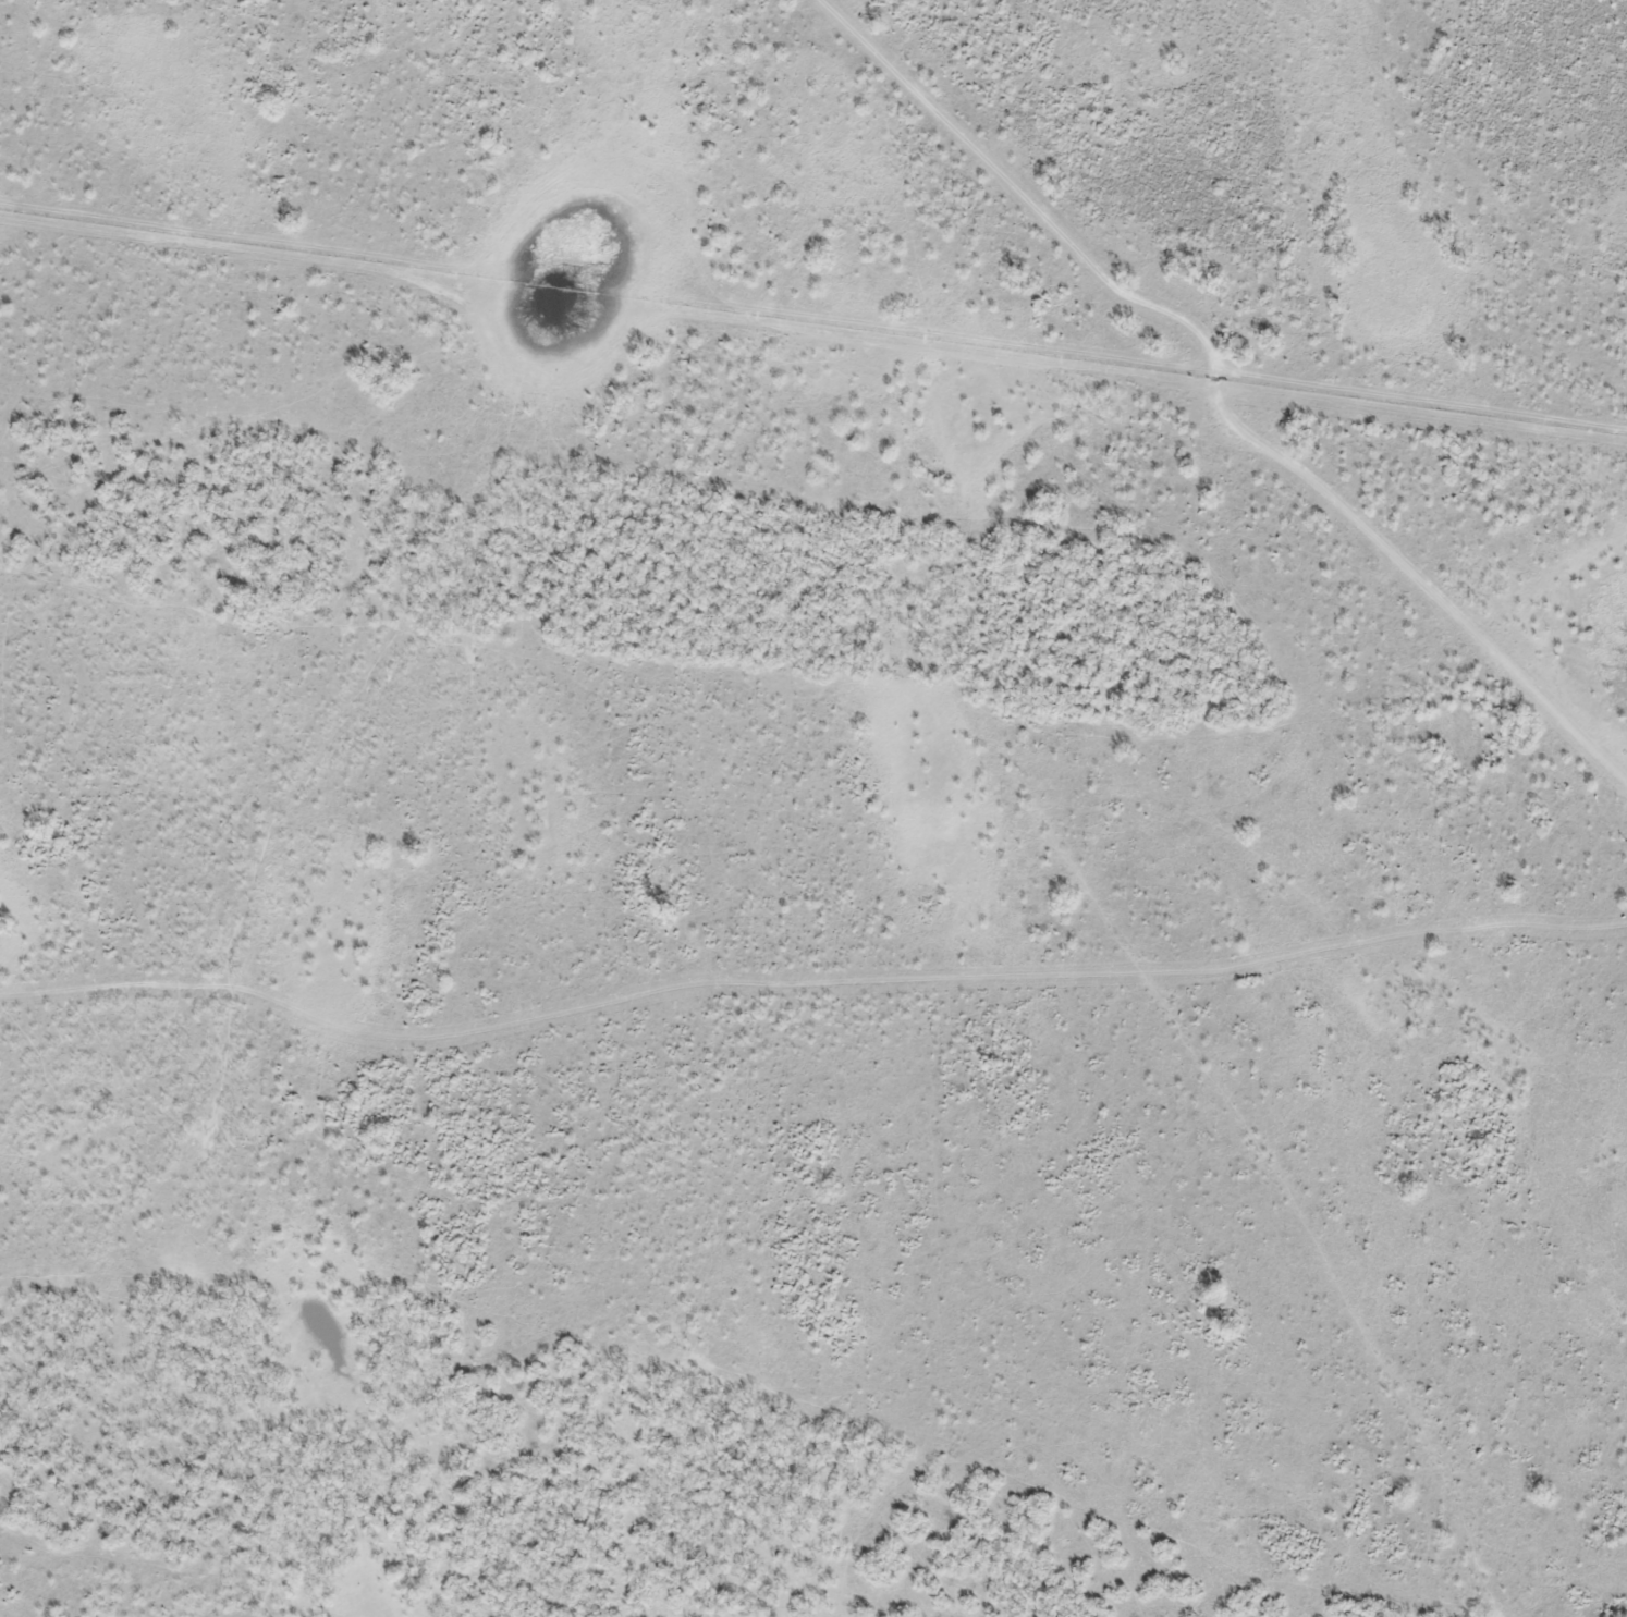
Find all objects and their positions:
road: (1151, 440)

